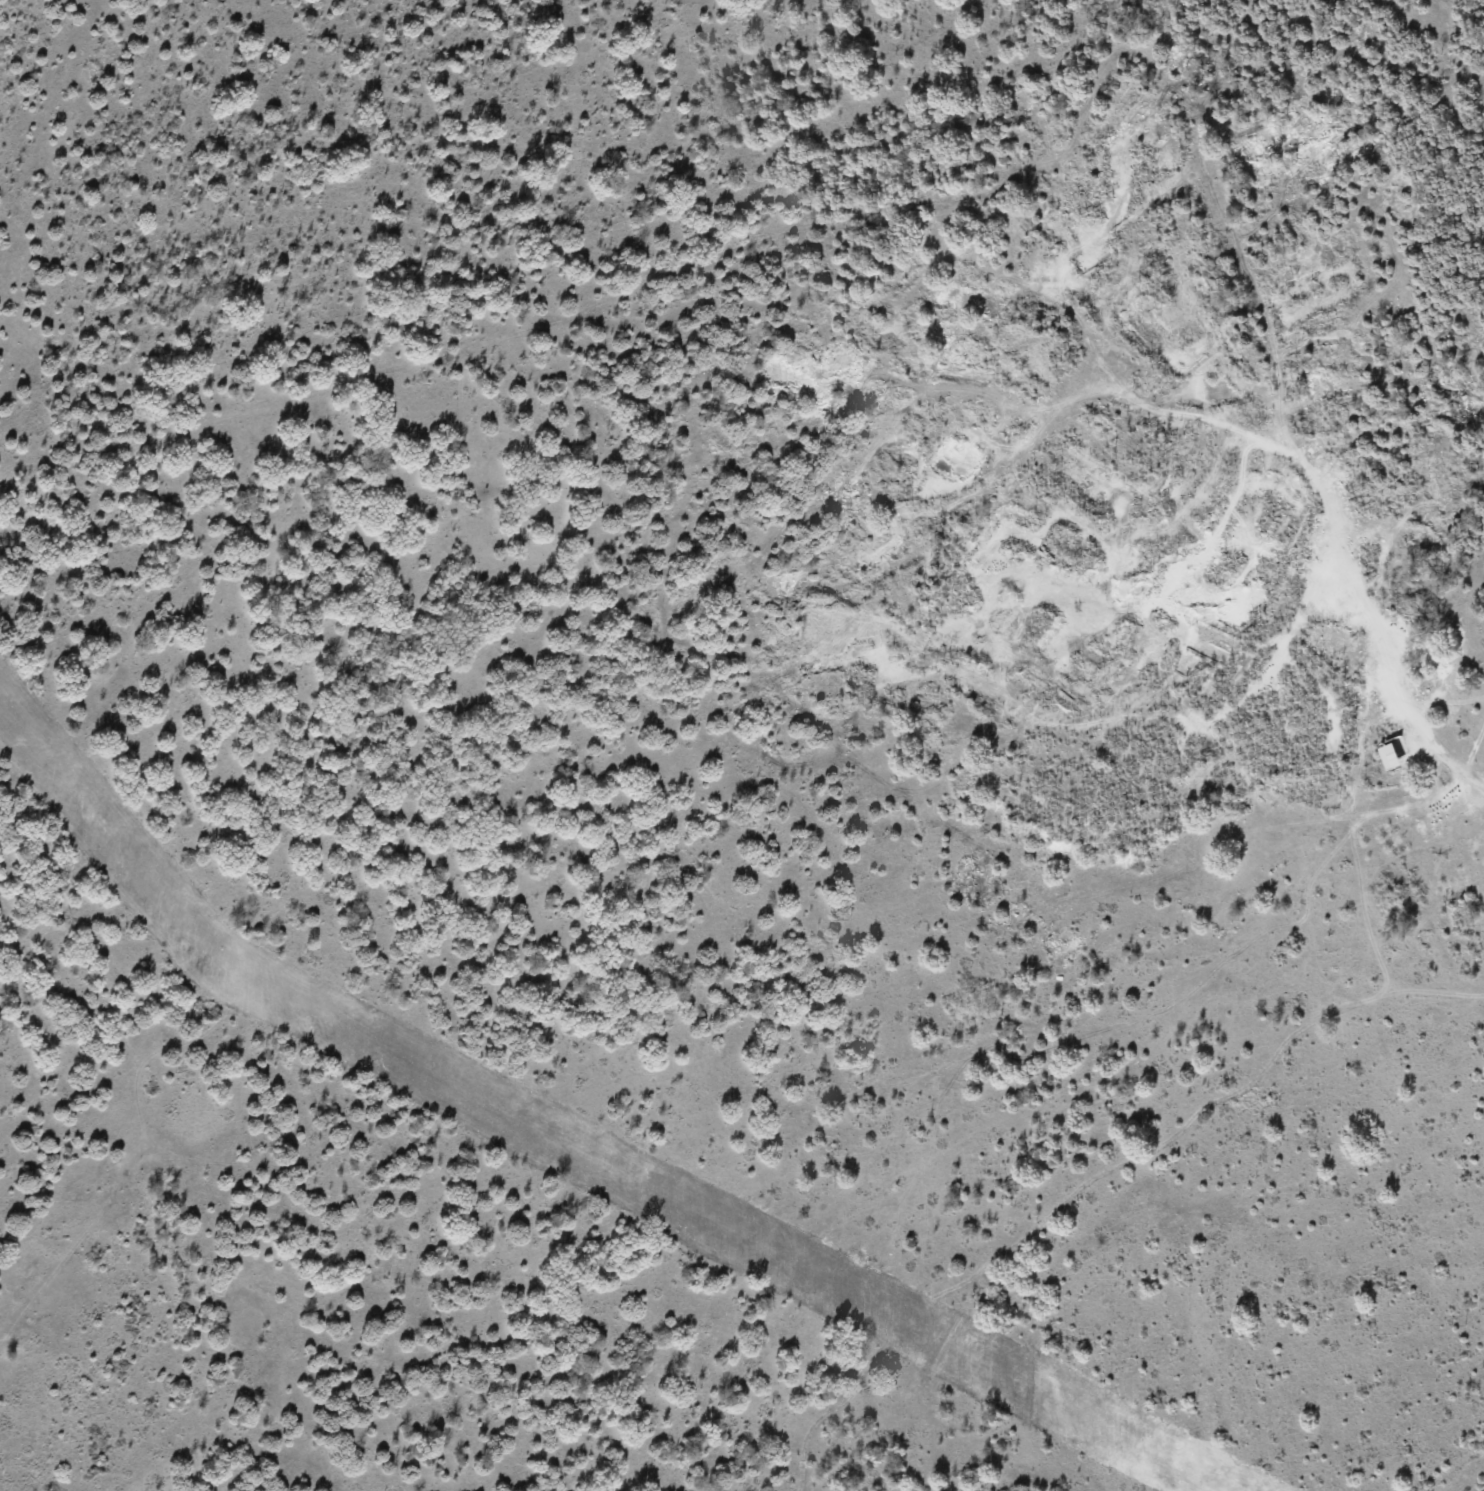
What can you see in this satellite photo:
building: (1392, 756)
road: (1450, 762)

